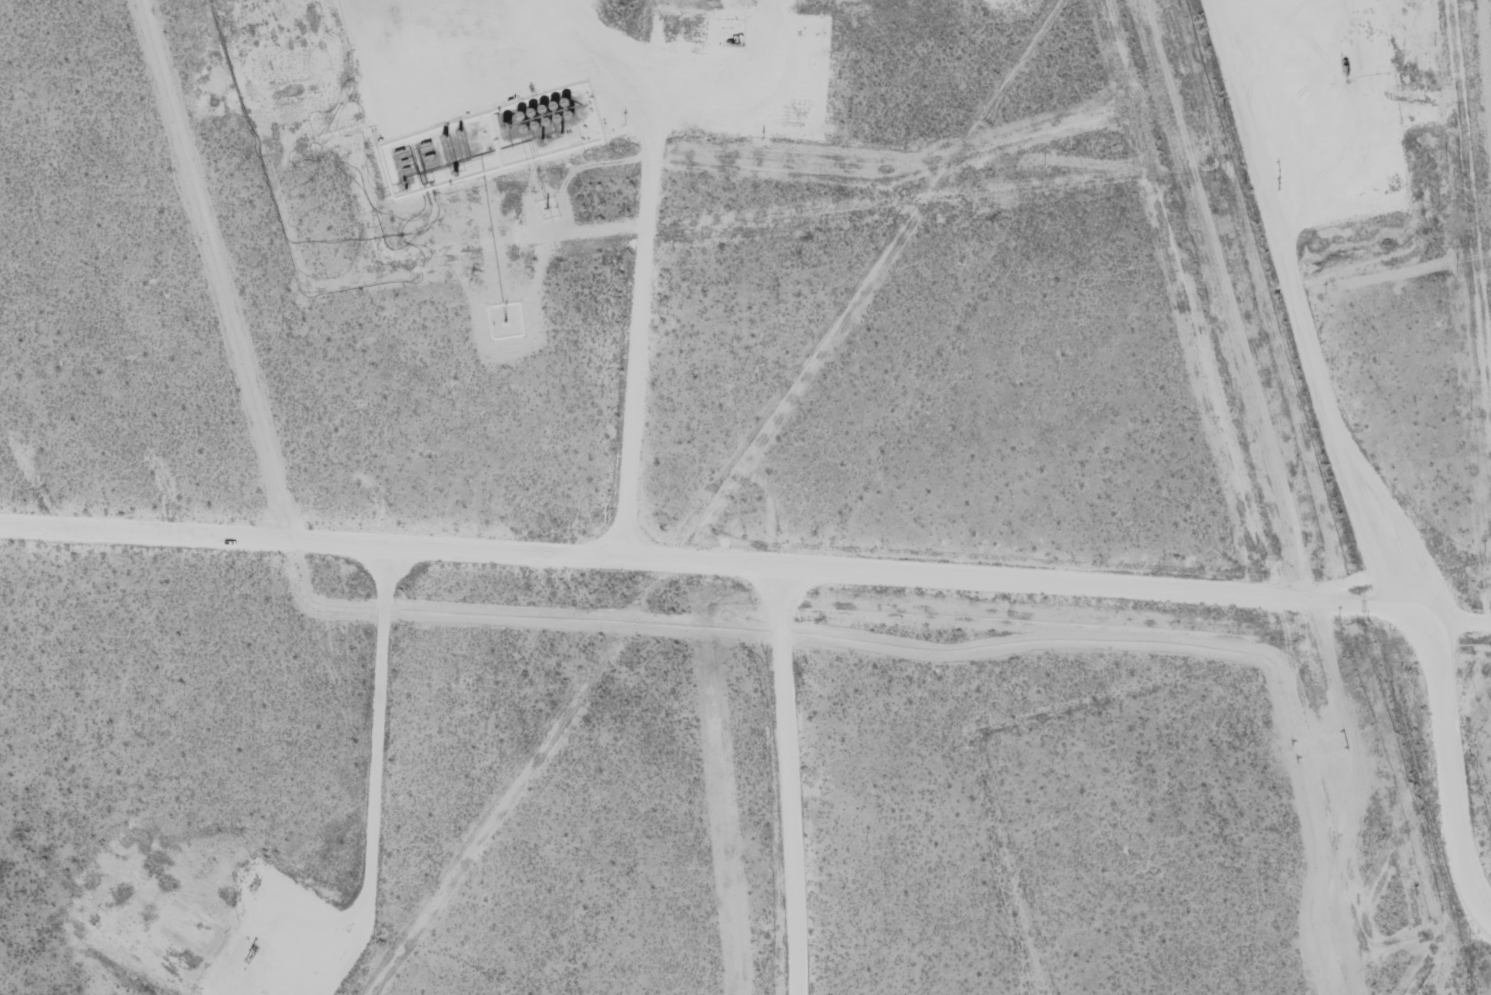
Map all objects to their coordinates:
road: (1333, 478)
road: (681, 552)
road: (784, 776)
road: (993, 784)

